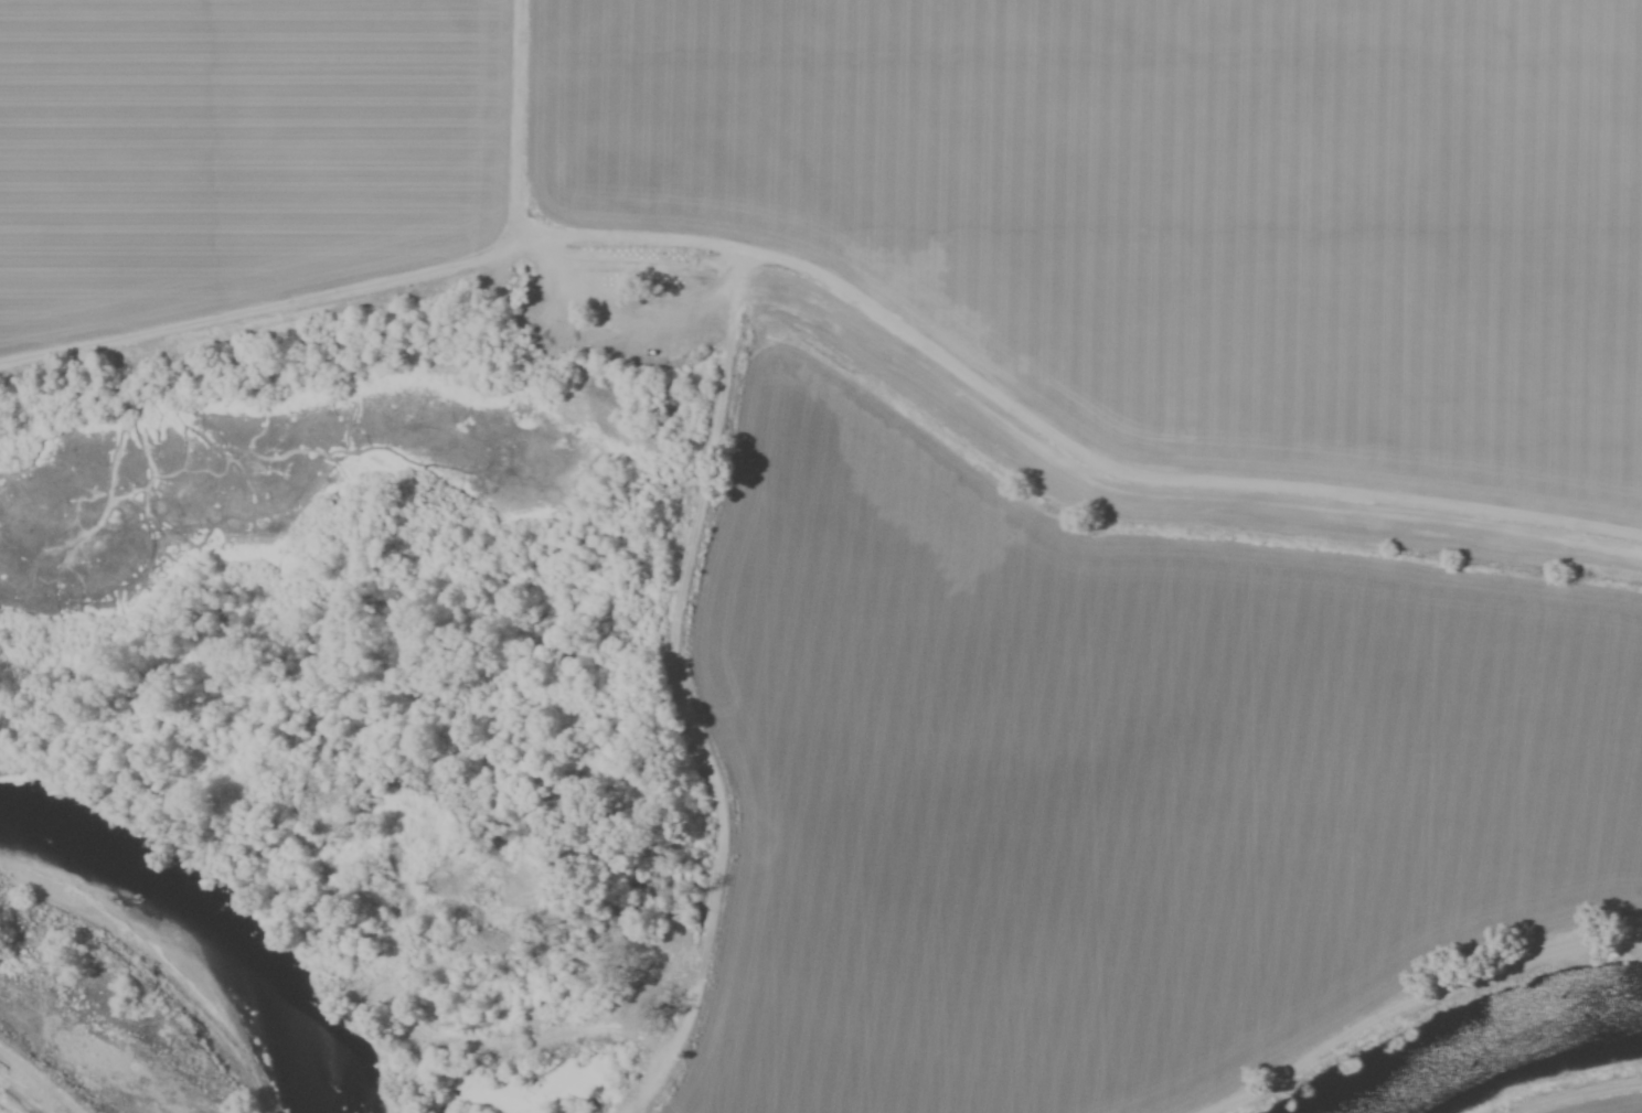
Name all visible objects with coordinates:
river: (158, 975)
road: (1578, 1091)

